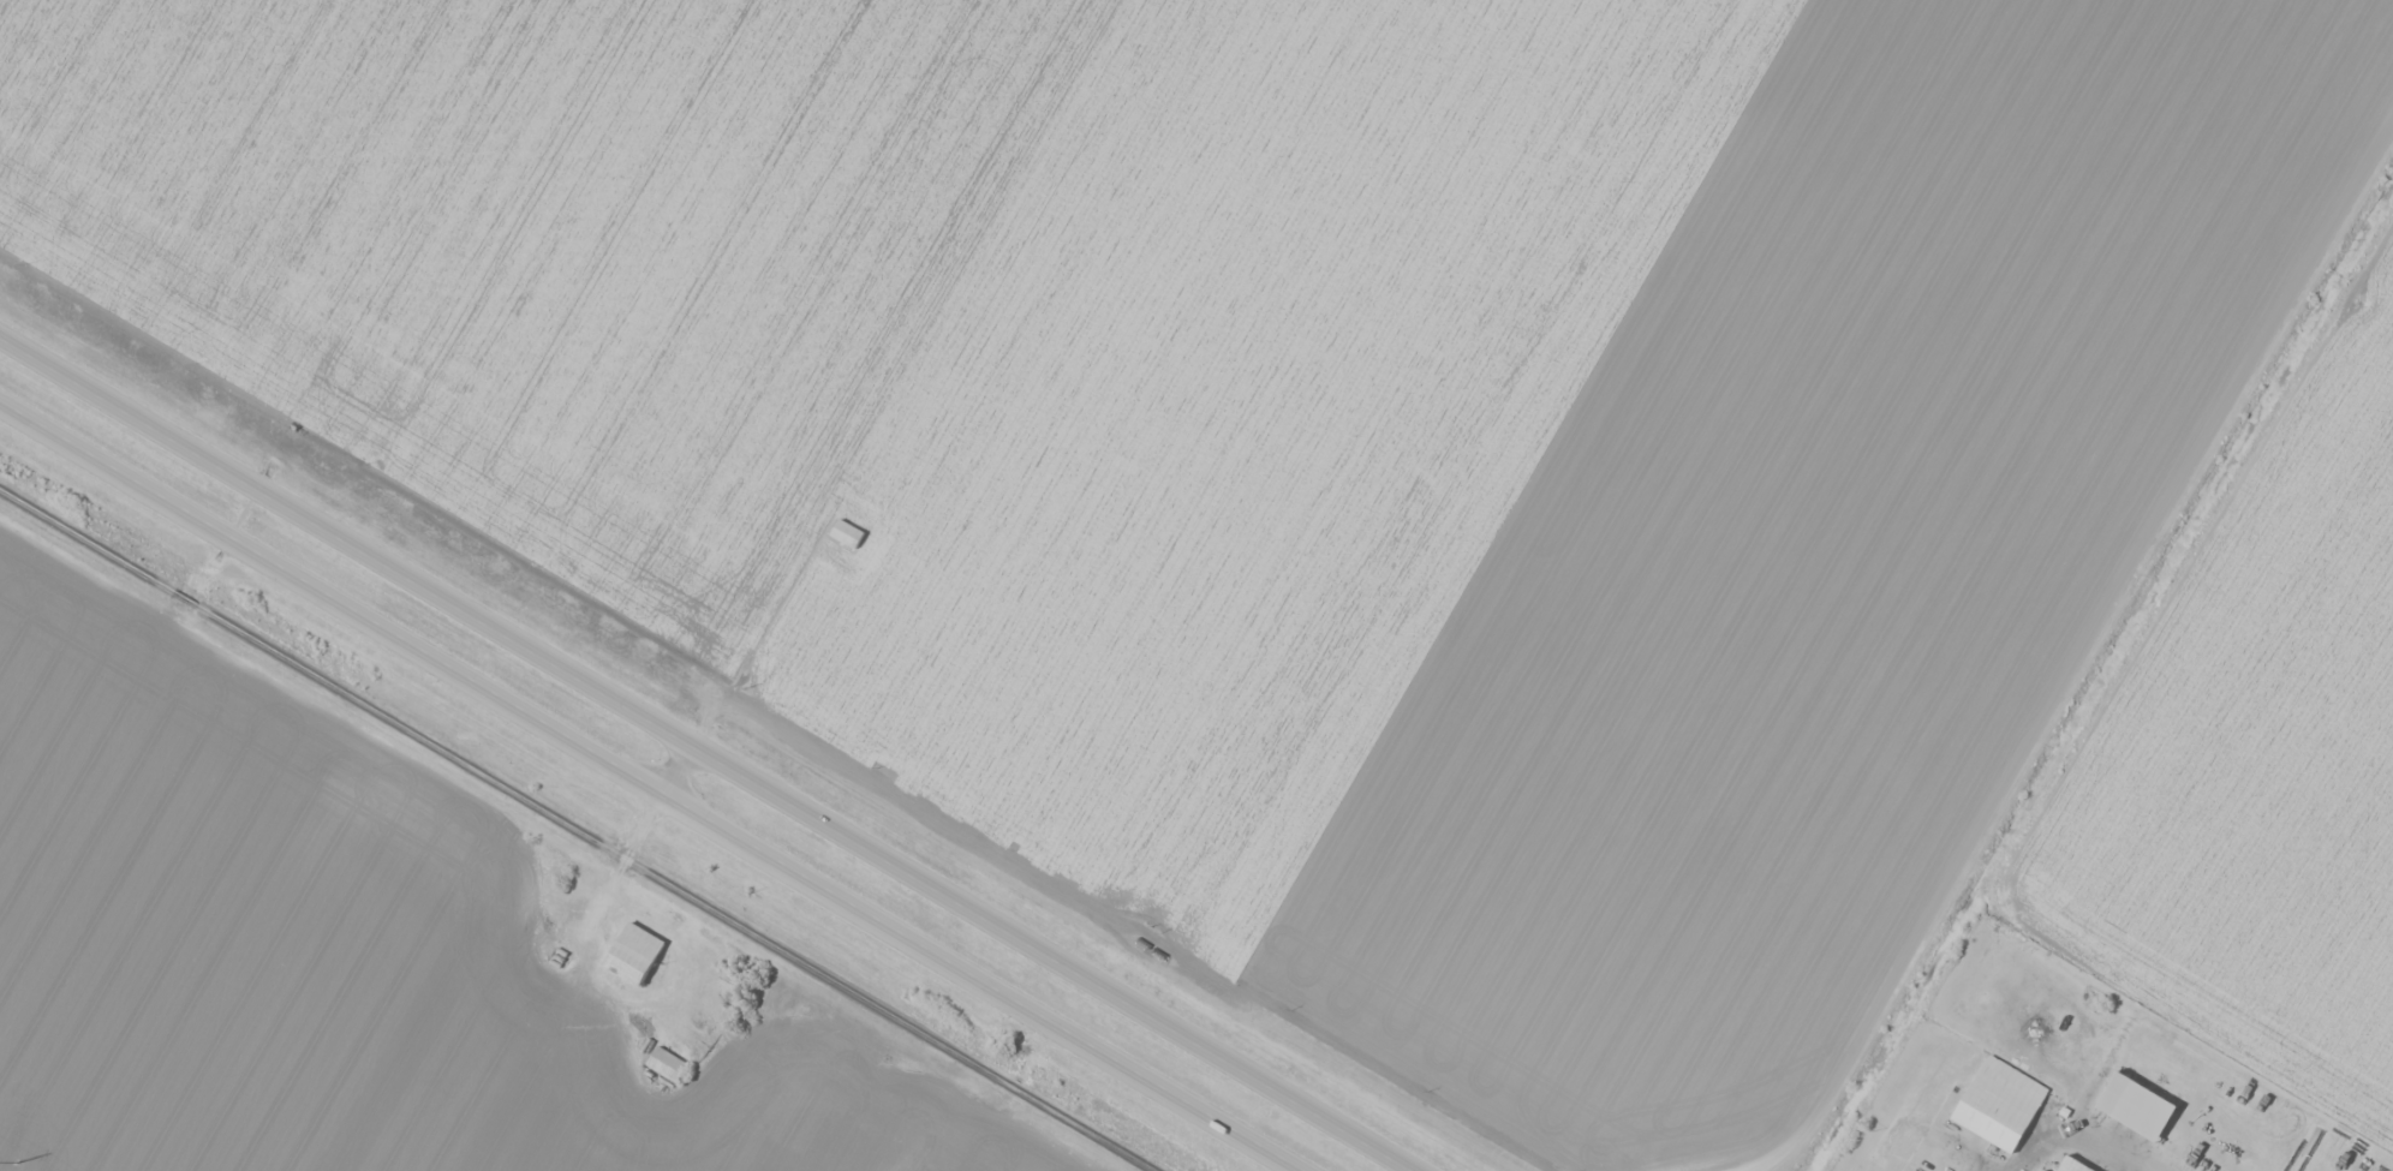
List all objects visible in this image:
building: (848, 538)
road: (2059, 688)
road: (714, 753)
road: (679, 767)
road: (650, 785)
railway: (577, 829)
building: (634, 958)
building: (664, 1063)
building: (1998, 1103)
building: (2137, 1111)
road: (2061, 1141)
power tower: (16, 1161)
building: (2070, 1165)
building: (2036, 1170)

